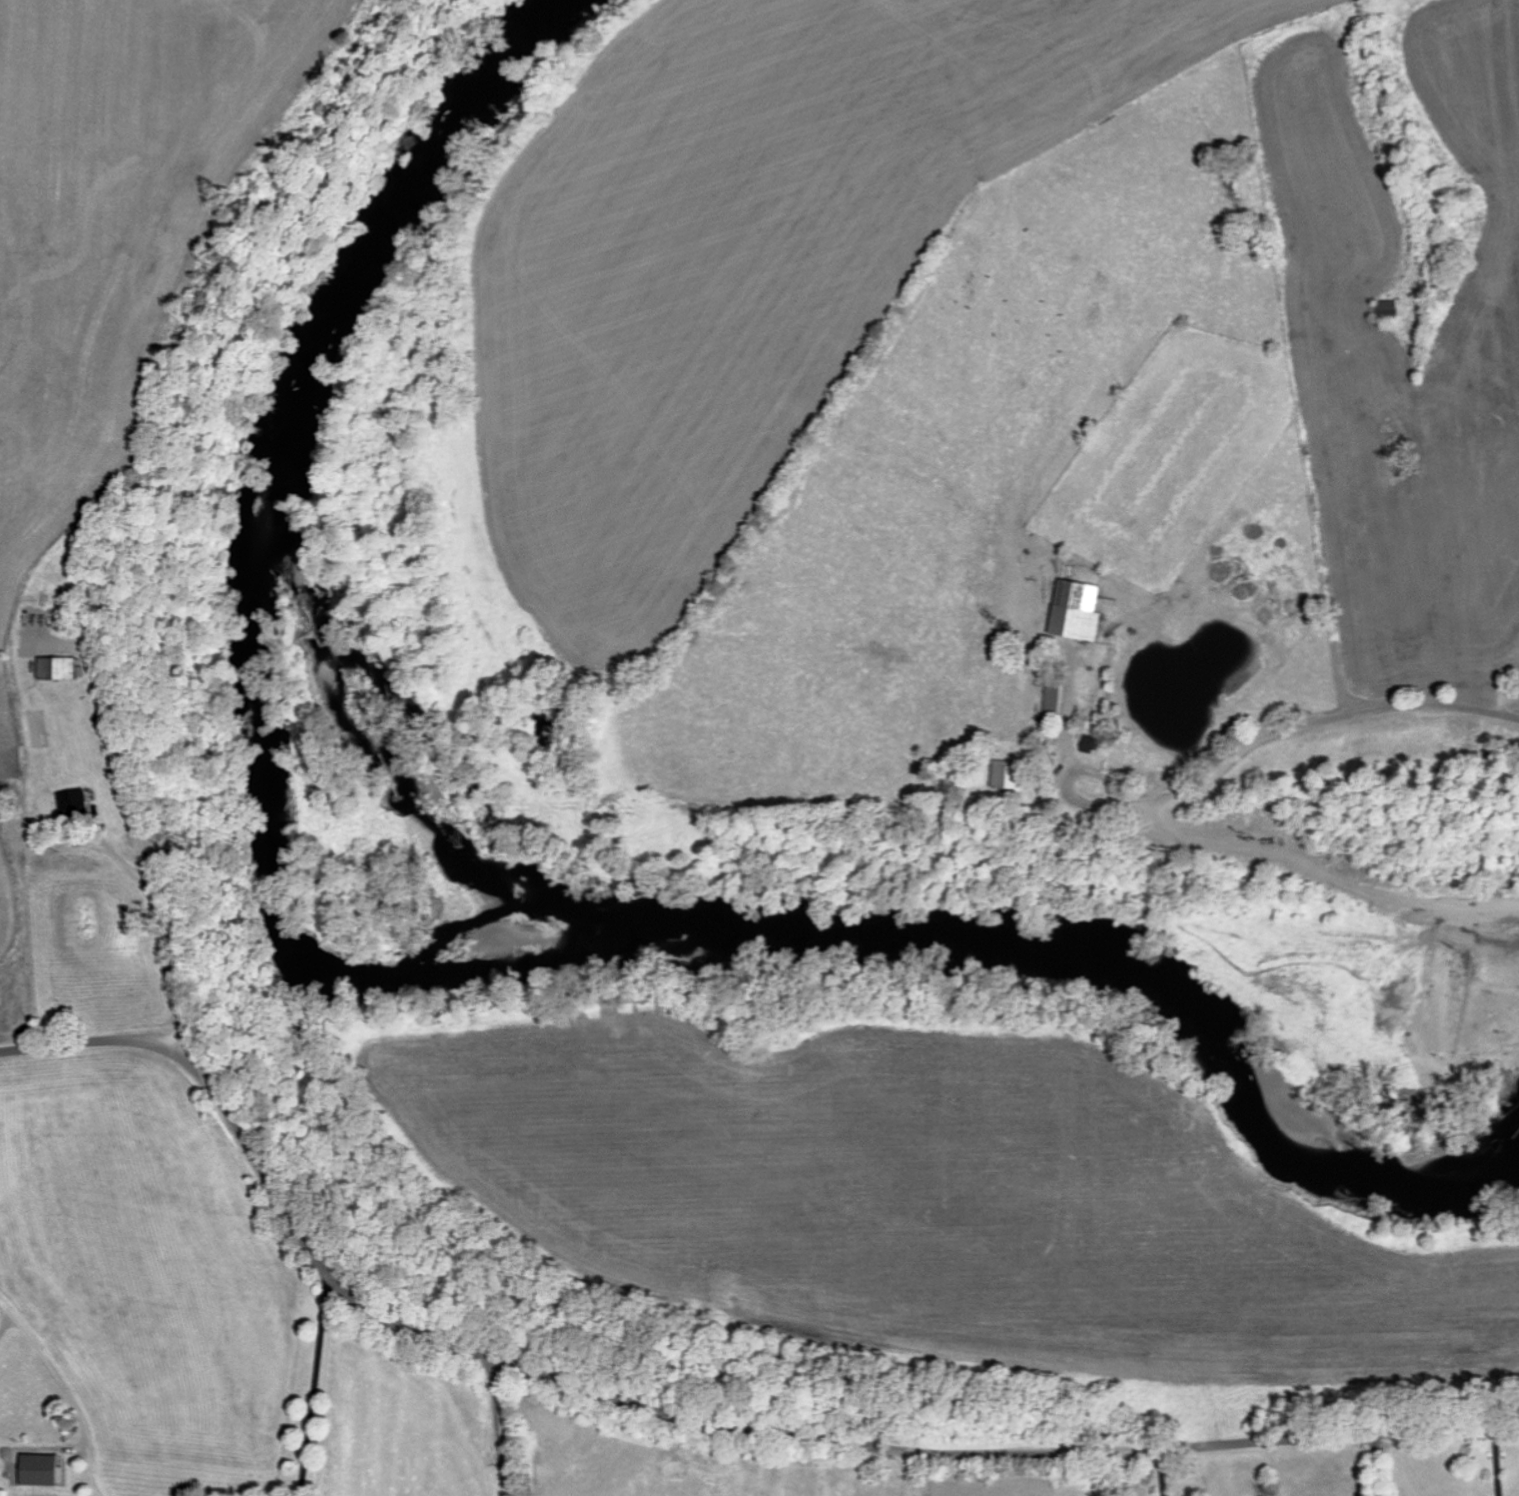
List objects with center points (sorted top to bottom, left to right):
building: (1078, 609)
building: (62, 667)
building: (1056, 696)
road: (1067, 715)
road: (1331, 720)
building: (1092, 744)
building: (1012, 775)
road: (1067, 782)
building: (75, 801)
river: (269, 812)
river: (538, 916)
road: (168, 942)
road: (62, 1407)
road: (685, 1423)
road: (1496, 1464)
road: (1378, 1467)
building: (42, 1469)
road: (1160, 1474)
road: (908, 1475)

